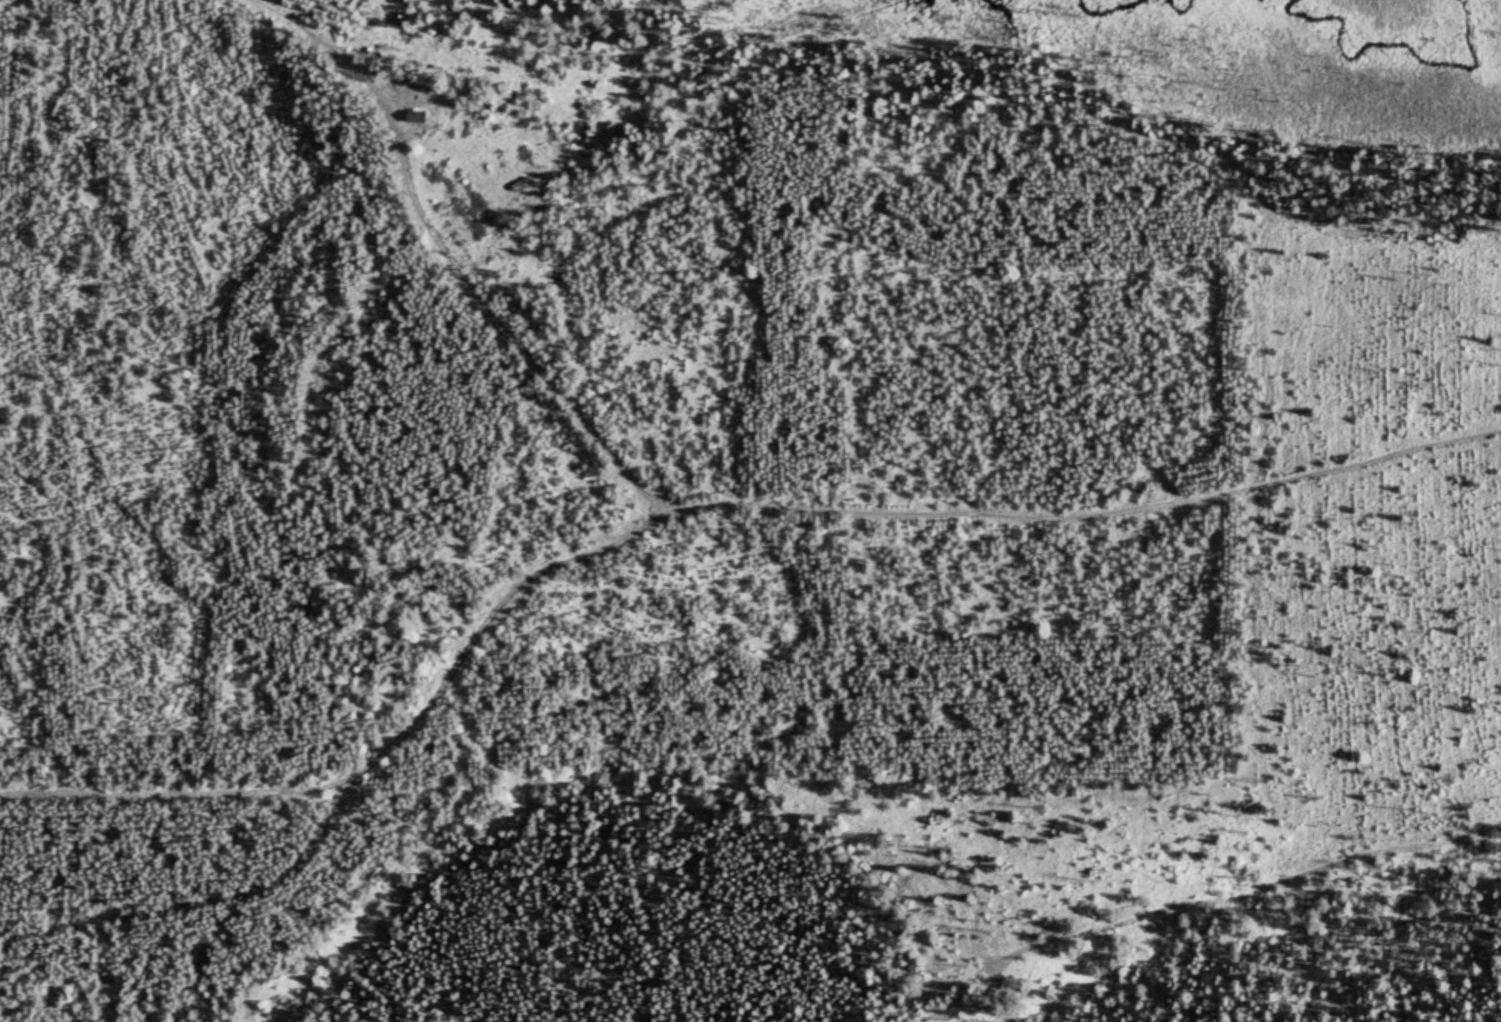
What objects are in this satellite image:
building: (418, 117)
road: (443, 249)
road: (1083, 513)
road: (373, 755)
road: (1239, 877)

